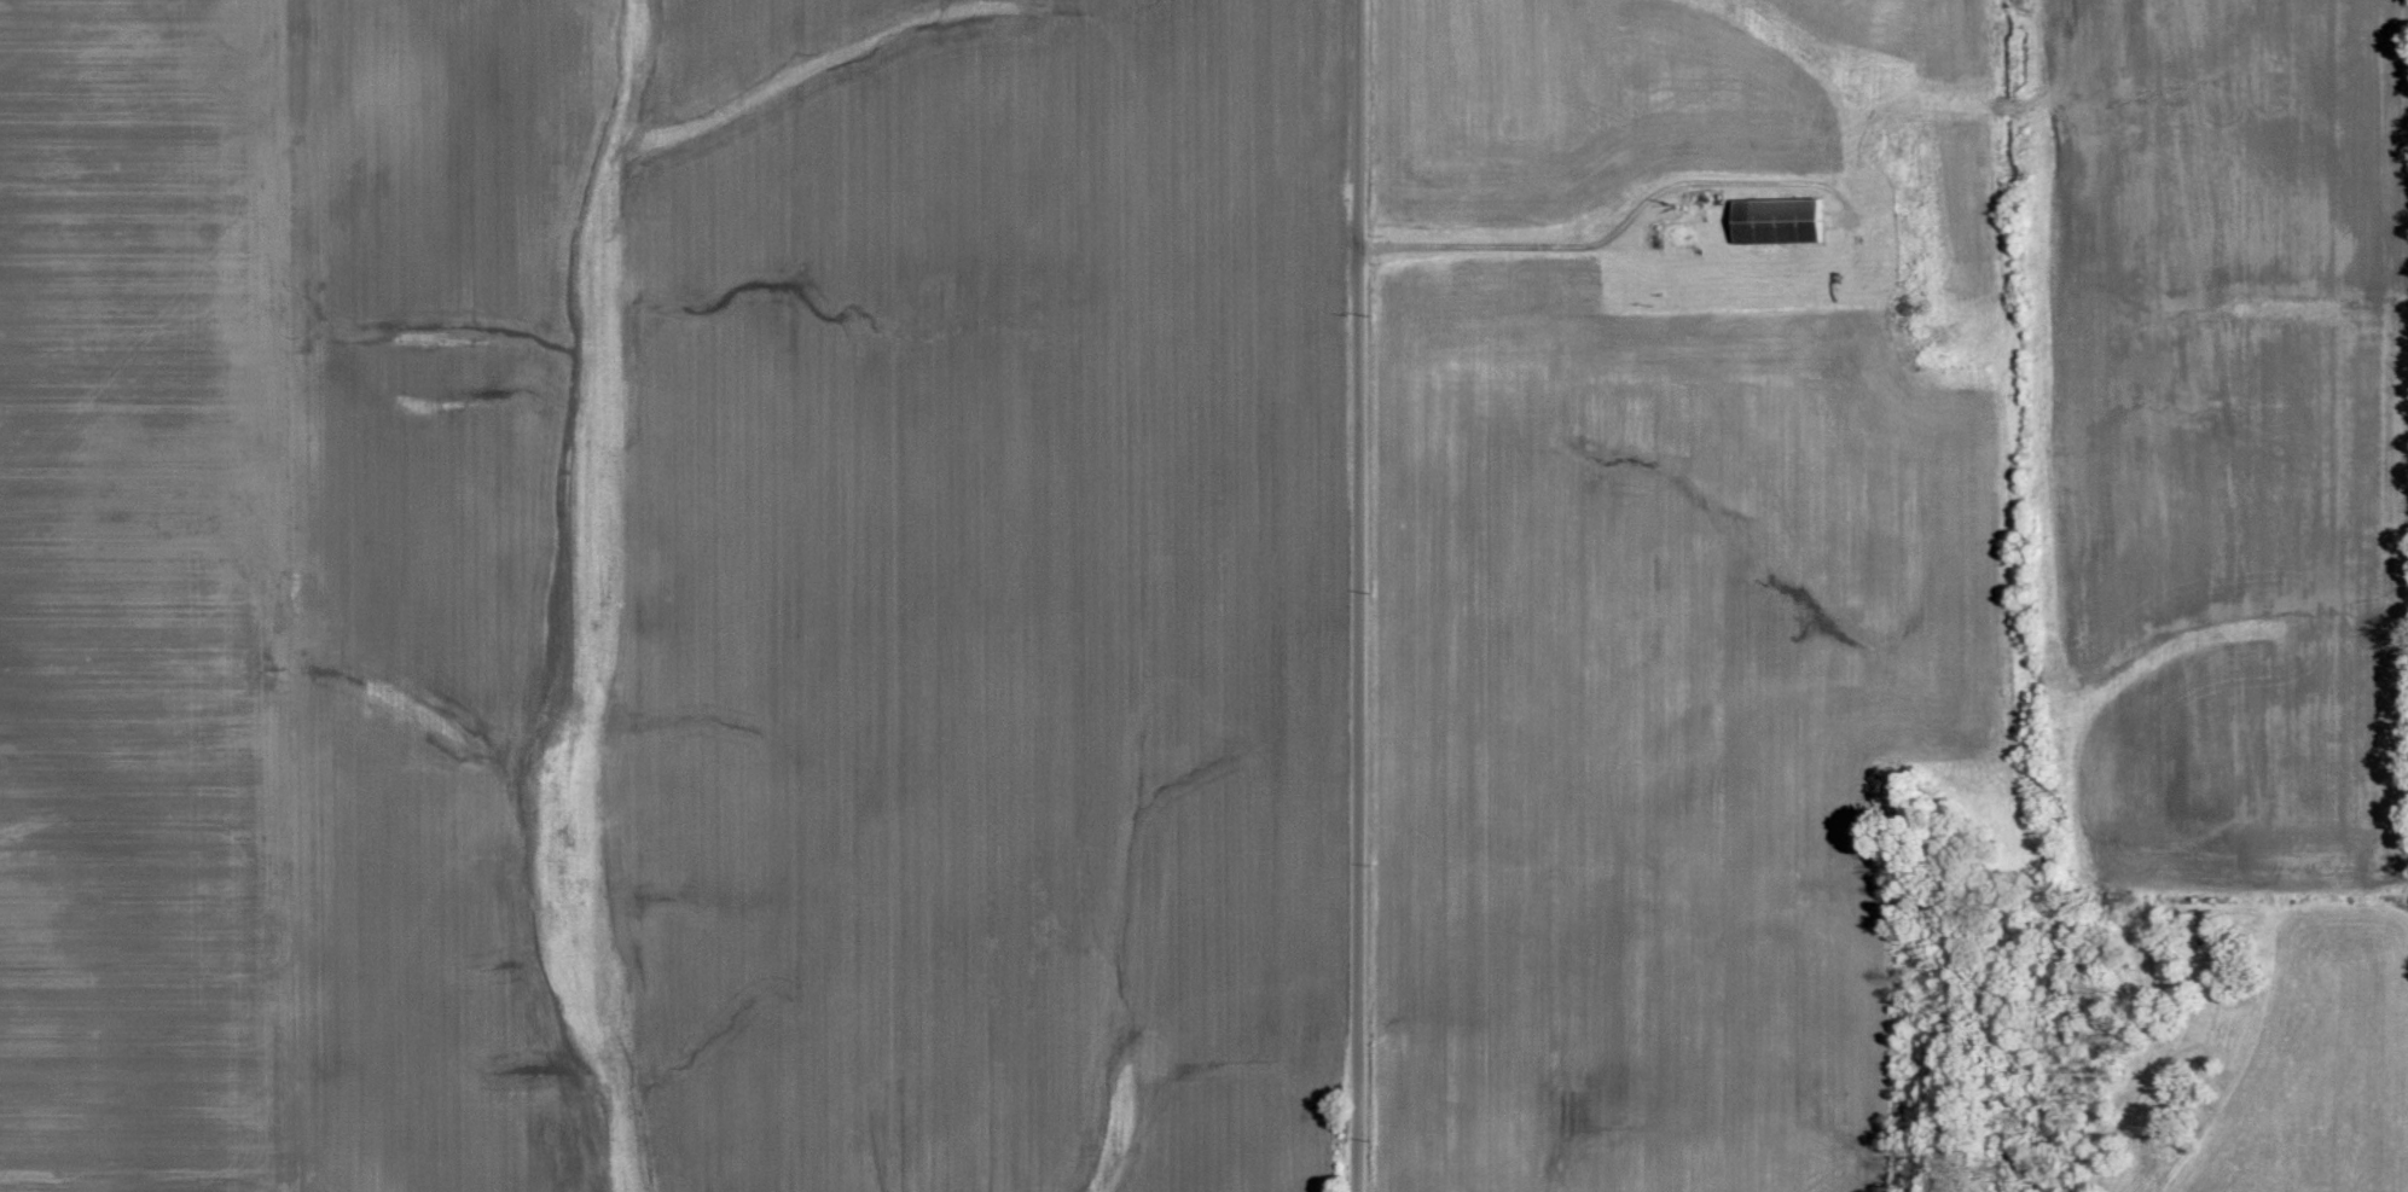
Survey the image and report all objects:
building: (1775, 222)
road: (1365, 595)

